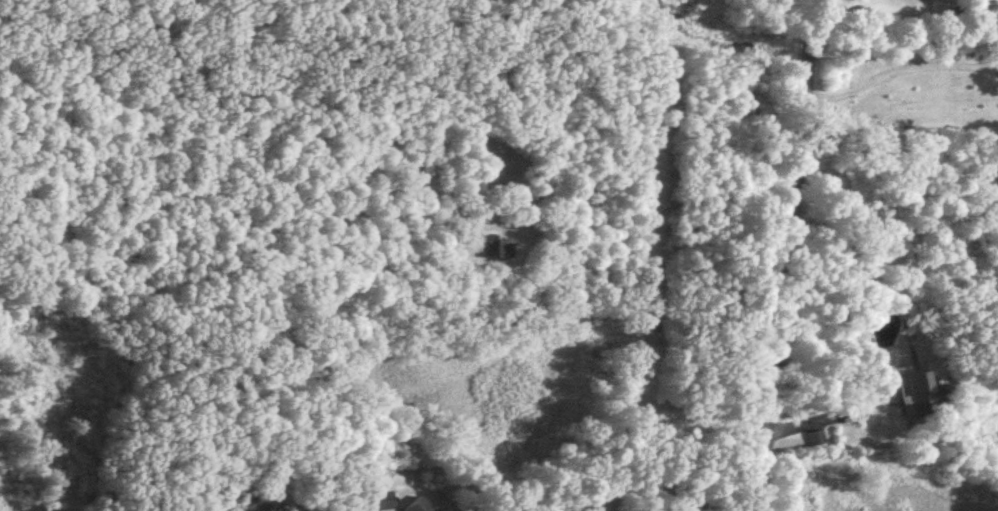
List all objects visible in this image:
building: (506, 251)
road: (788, 254)
building: (928, 391)
building: (820, 440)
building: (383, 501)
building: (425, 505)

